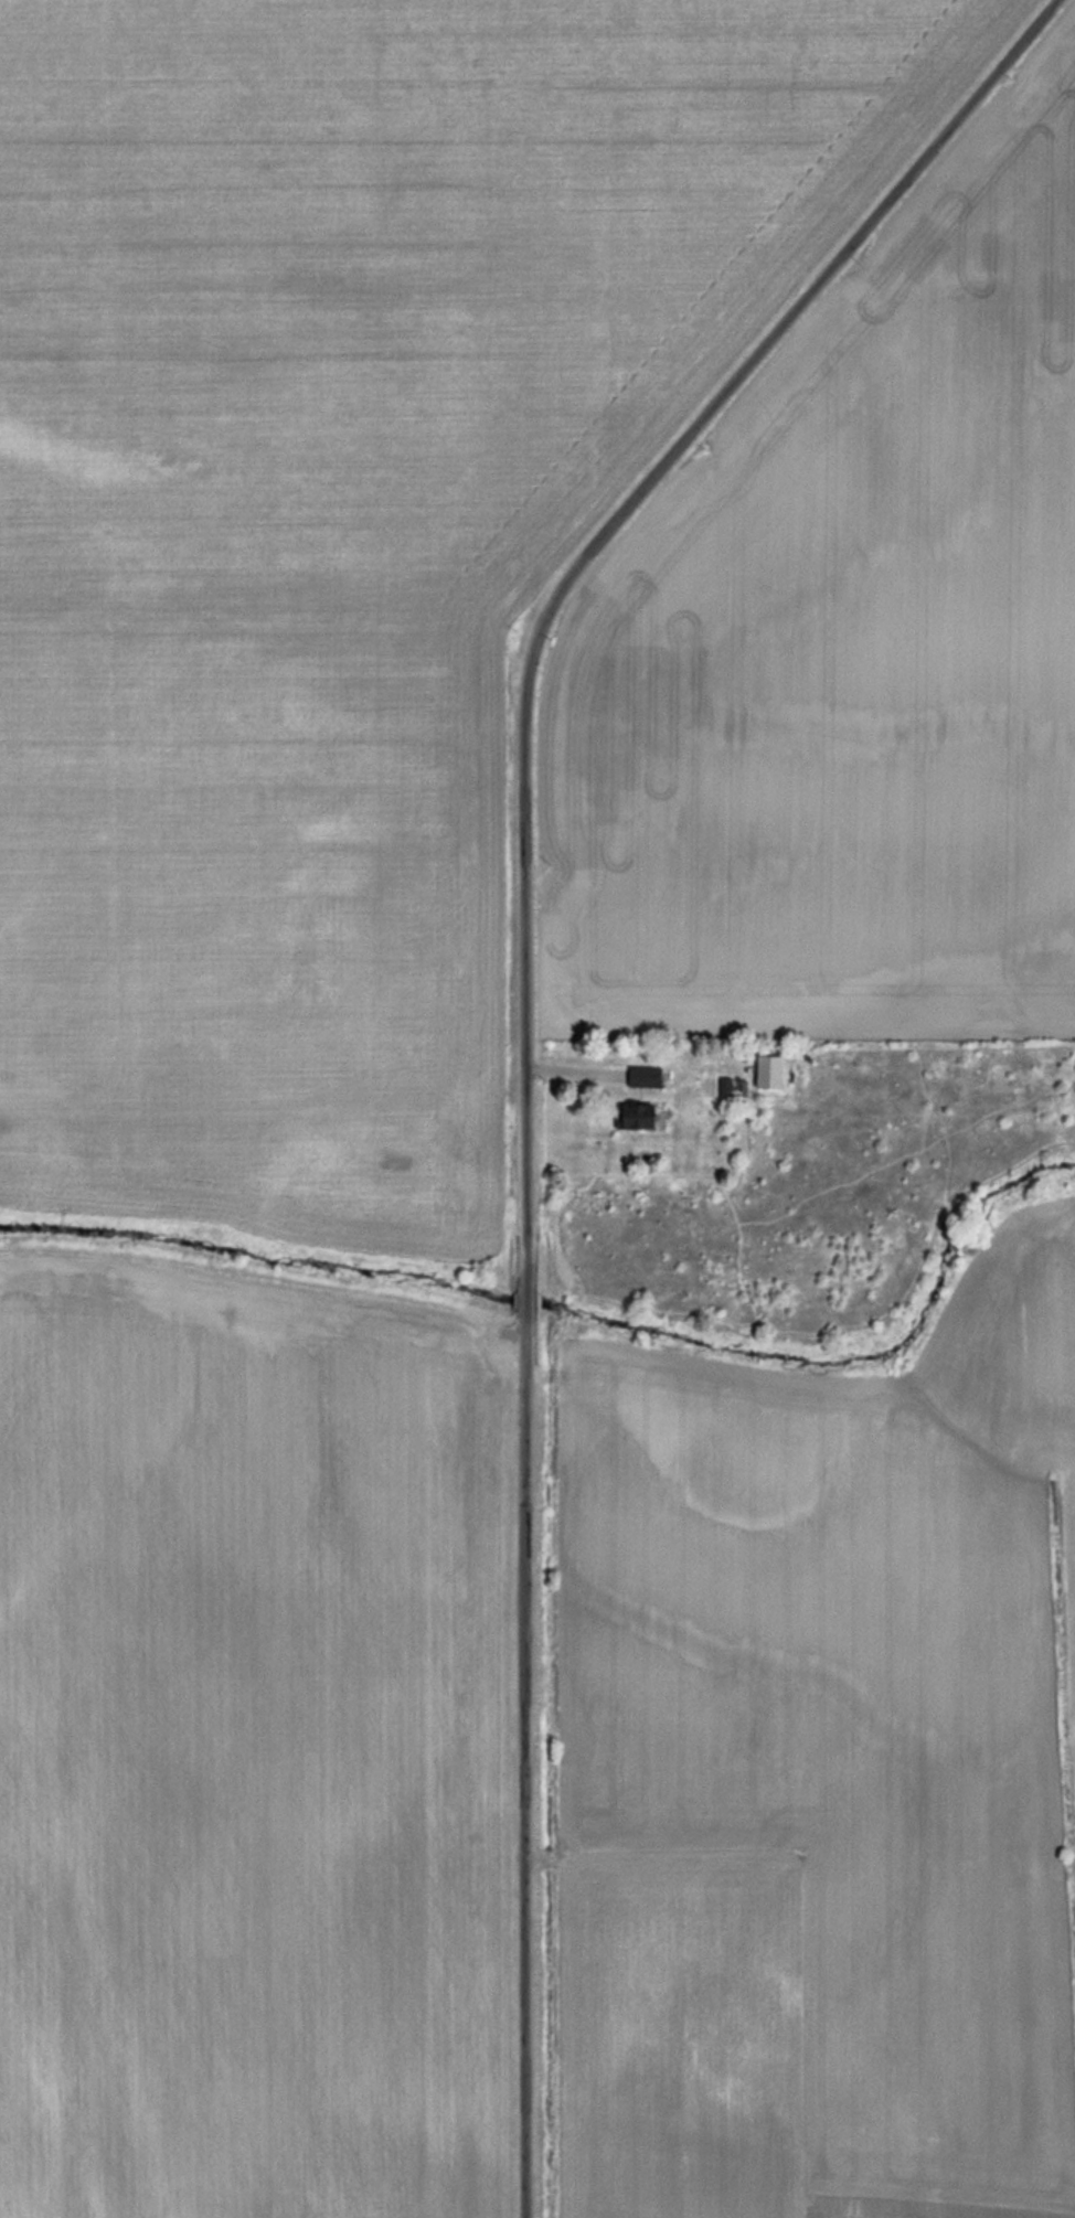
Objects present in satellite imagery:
road: (526, 1014)
building: (641, 1076)
building: (723, 1085)
building: (629, 1115)

